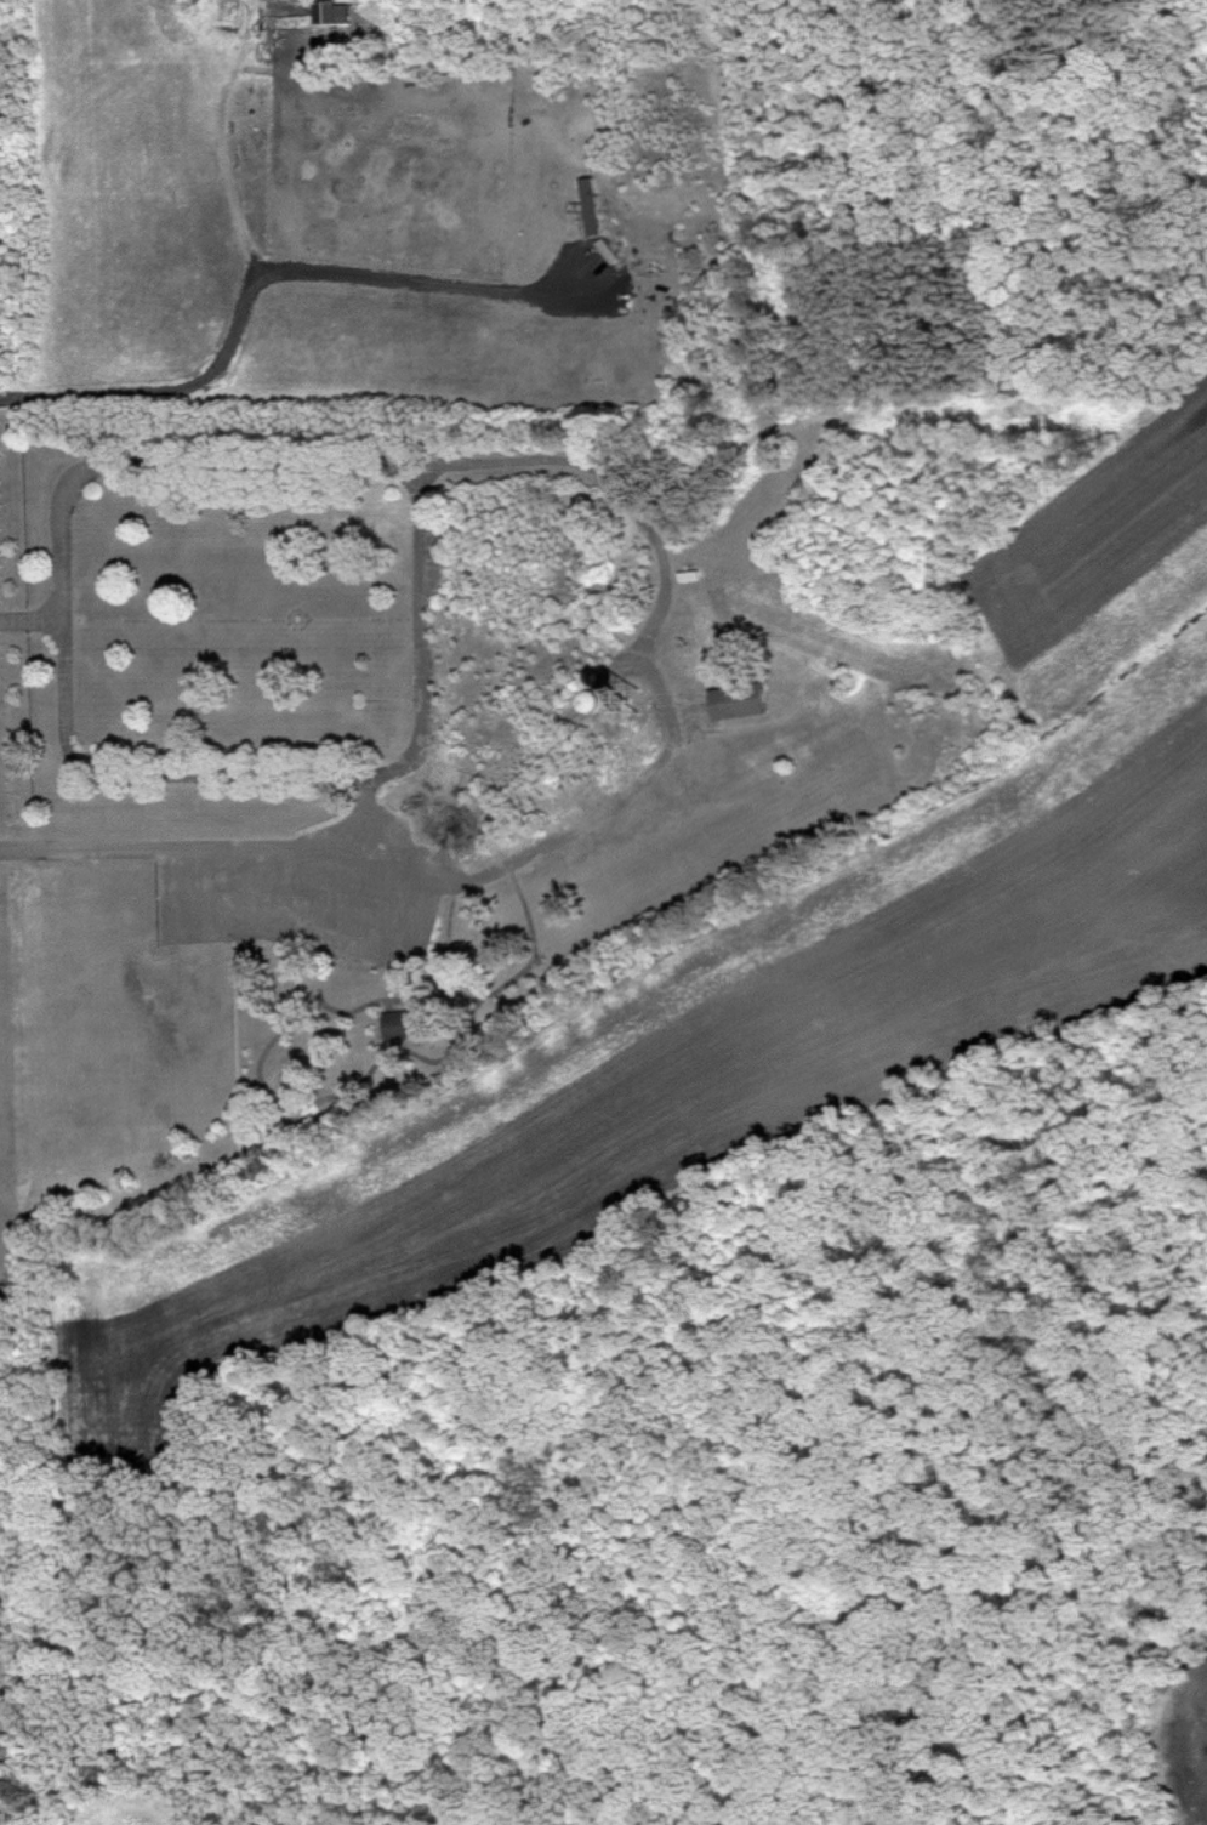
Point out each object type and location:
building: (336, 12)
road: (177, 466)
road: (30, 621)
water tower: (636, 700)
road: (671, 755)
road: (388, 779)
road: (207, 848)

